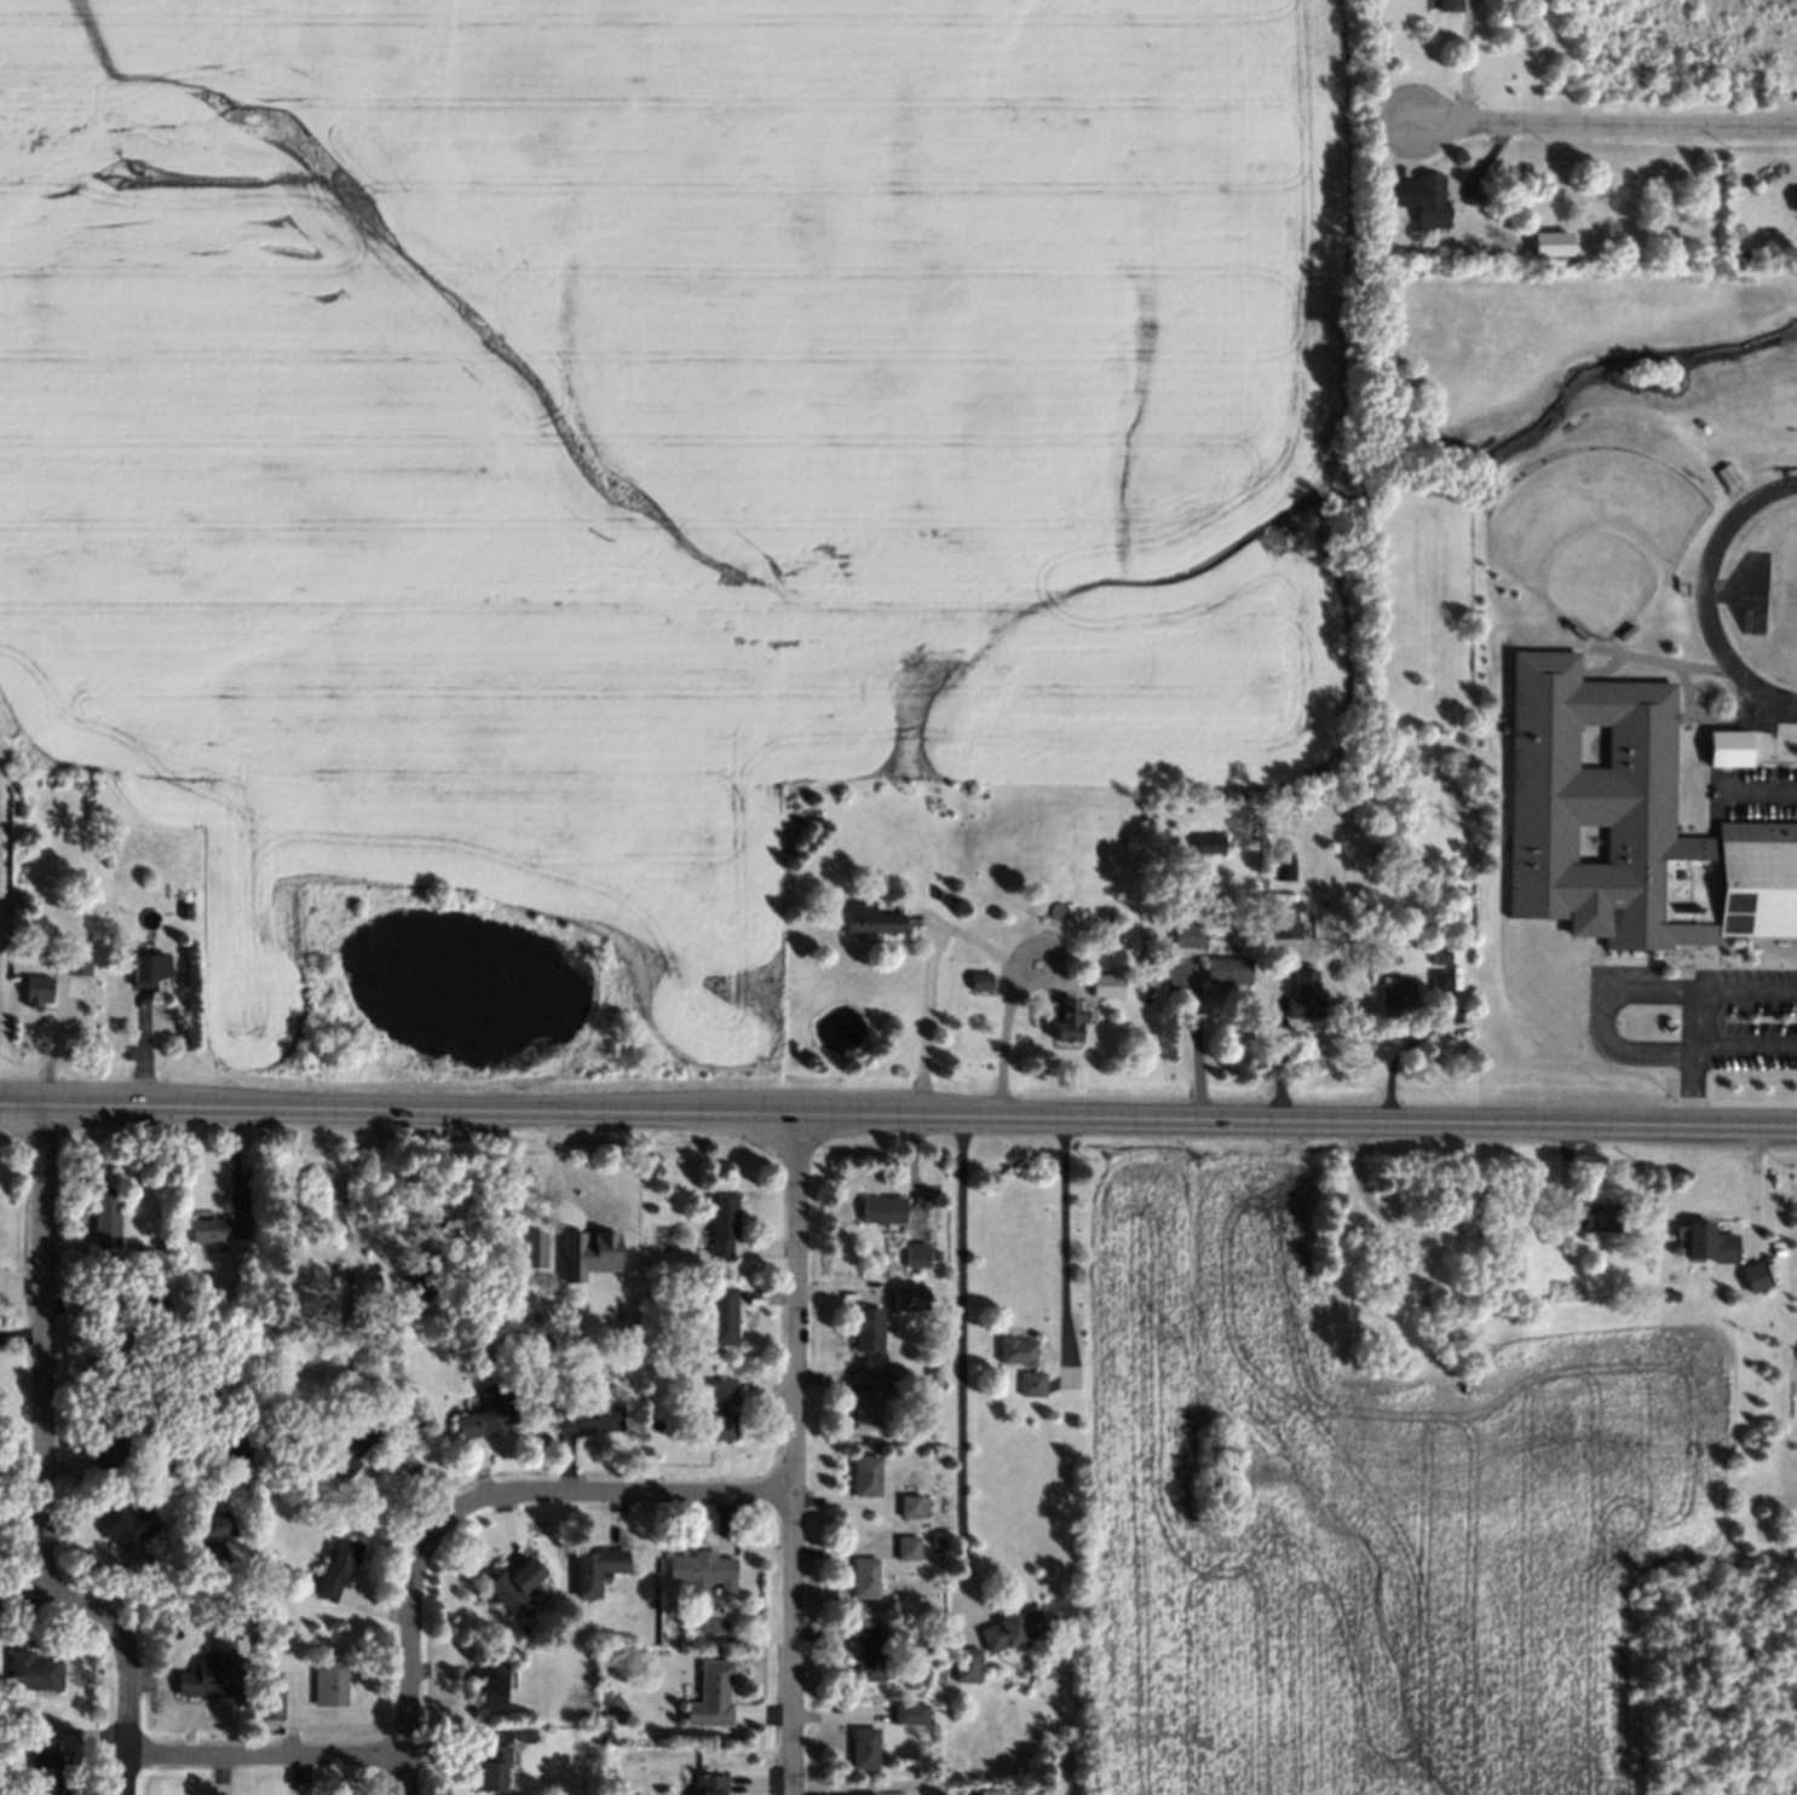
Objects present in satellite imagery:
building: (1442, 4)
road: (1605, 121)
building: (1425, 202)
building: (1550, 242)
building: (1738, 252)
building: (1724, 473)
park: (1590, 532)
park: (1787, 595)
track: (1752, 598)
building: (1727, 746)
road: (1764, 789)
building: (16, 807)
building: (1202, 843)
building: (1375, 852)
building: (1640, 853)
building: (1278, 864)
building: (1285, 868)
building: (182, 911)
building: (862, 918)
building: (1278, 920)
building: (1181, 930)
building: (1433, 959)
building: (73, 963)
building: (145, 965)
building: (1221, 969)
building: (974, 980)
building: (1106, 982)
building: (1433, 982)
building: (31, 988)
building: (1300, 995)
building: (1390, 997)
road: (1605, 1017)
building: (1062, 1018)
road: (922, 1022)
road: (1002, 1040)
road: (1193, 1055)
road: (1691, 1086)
road: (898, 1113)
road: (493, 1171)
building: (1457, 1210)
building: (883, 1211)
building: (104, 1217)
building: (1591, 1218)
building: (722, 1224)
road: (1064, 1227)
building: (218, 1229)
building: (1710, 1246)
building: (532, 1248)
building: (917, 1249)
building: (935, 1252)
building: (587, 1253)
building: (1755, 1274)
building: (421, 1280)
building: (1675, 1298)
building: (905, 1300)
building: (154, 1304)
building: (448, 1310)
building: (722, 1318)
building: (870, 1332)
road: (41, 1349)
building: (115, 1351)
building: (1018, 1354)
road: (958, 1356)
building: (678, 1373)
building: (937, 1374)
building: (897, 1380)
building: (1033, 1387)
building: (868, 1412)
building: (722, 1413)
building: (488, 1415)
building: (589, 1420)
building: (237, 1447)
building: (353, 1449)
building: (106, 1451)
road: (793, 1454)
building: (866, 1479)
road: (641, 1494)
building: (911, 1510)
crop: (1366, 1519)
building: (127, 1526)
building: (212, 1540)
building: (939, 1546)
building: (908, 1552)
building: (338, 1570)
building: (597, 1574)
building: (704, 1576)
building: (865, 1582)
building: (513, 1591)
road: (53, 1597)
road: (409, 1623)
building: (1014, 1633)
building: (869, 1652)
building: (967, 1667)
building: (34, 1674)
building: (211, 1679)
building: (491, 1685)
building: (332, 1686)
building: (715, 1695)
building: (271, 1697)
road: (123, 1703)
building: (910, 1716)
building: (865, 1750)
road: (261, 1758)
building: (491, 1767)
building: (50, 1773)
building: (712, 1787)
building: (996, 1791)
building: (865, 1794)

